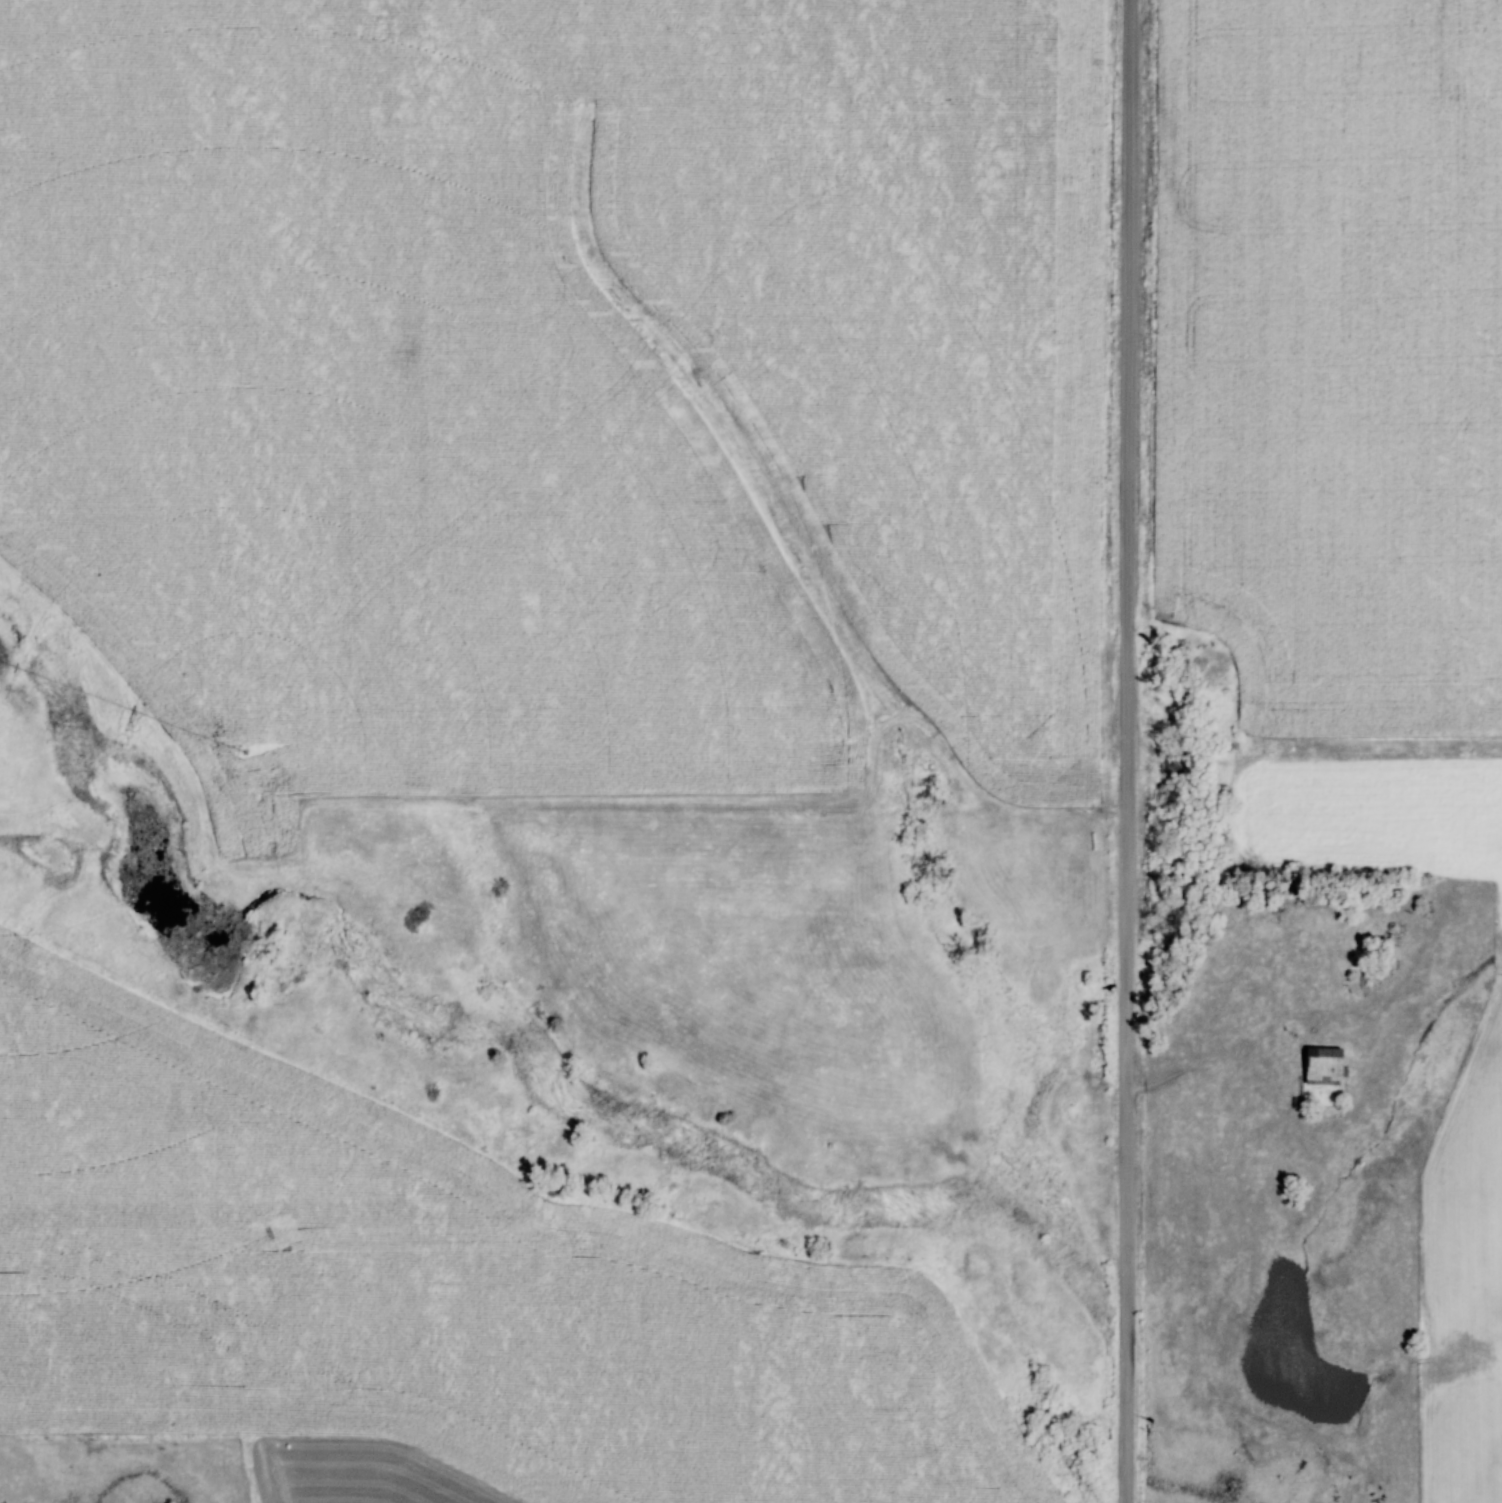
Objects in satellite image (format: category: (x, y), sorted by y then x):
road: (1129, 751)
building: (1329, 1066)

